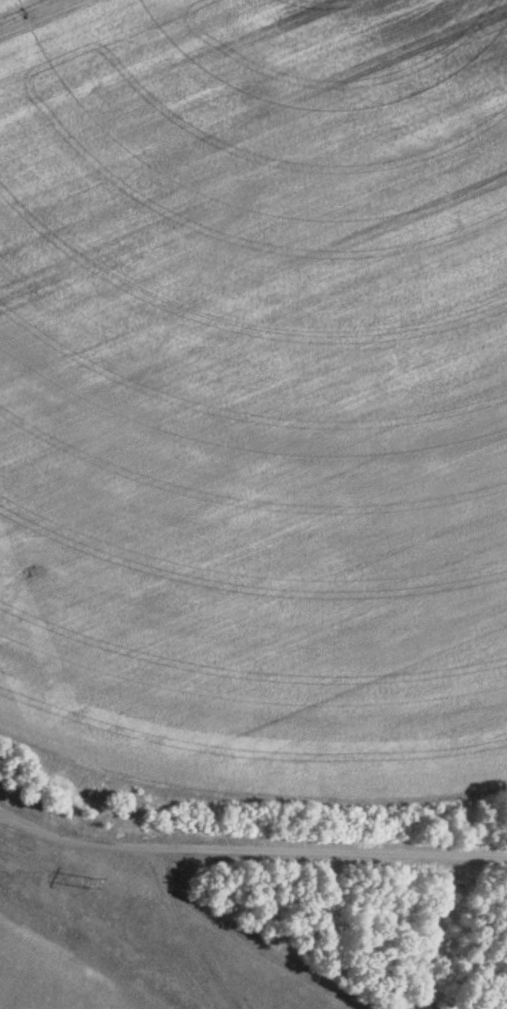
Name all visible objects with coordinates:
wastewater plant: (265, 458)
power tower: (90, 880)

